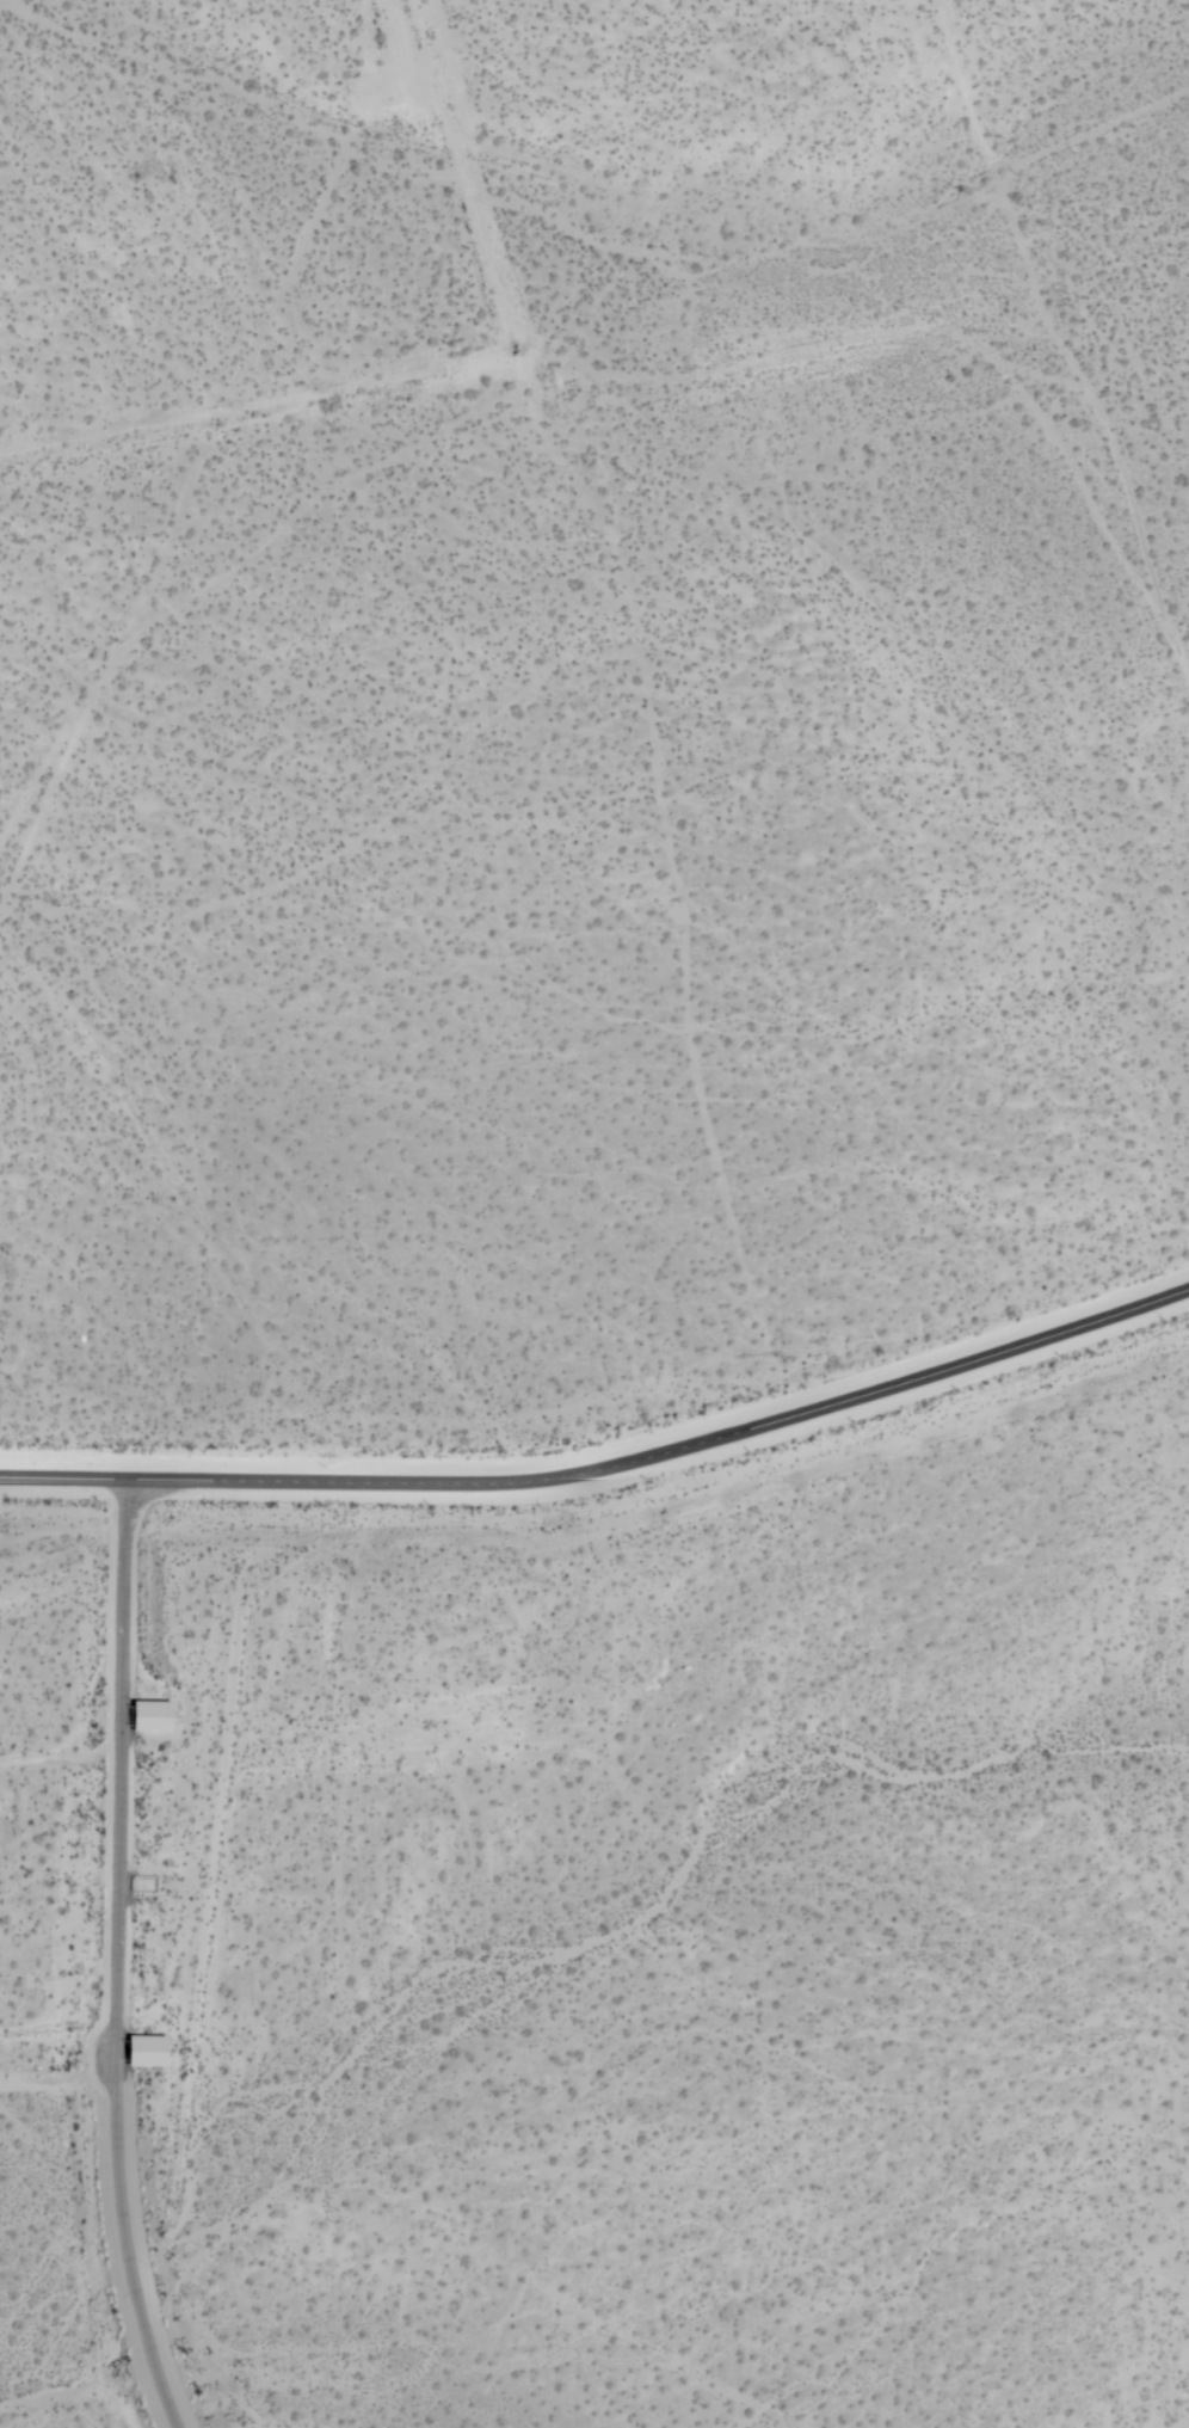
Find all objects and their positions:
road: (1052, 338)
road: (606, 1464)
building: (150, 1717)
road: (113, 1955)
building: (146, 2052)

